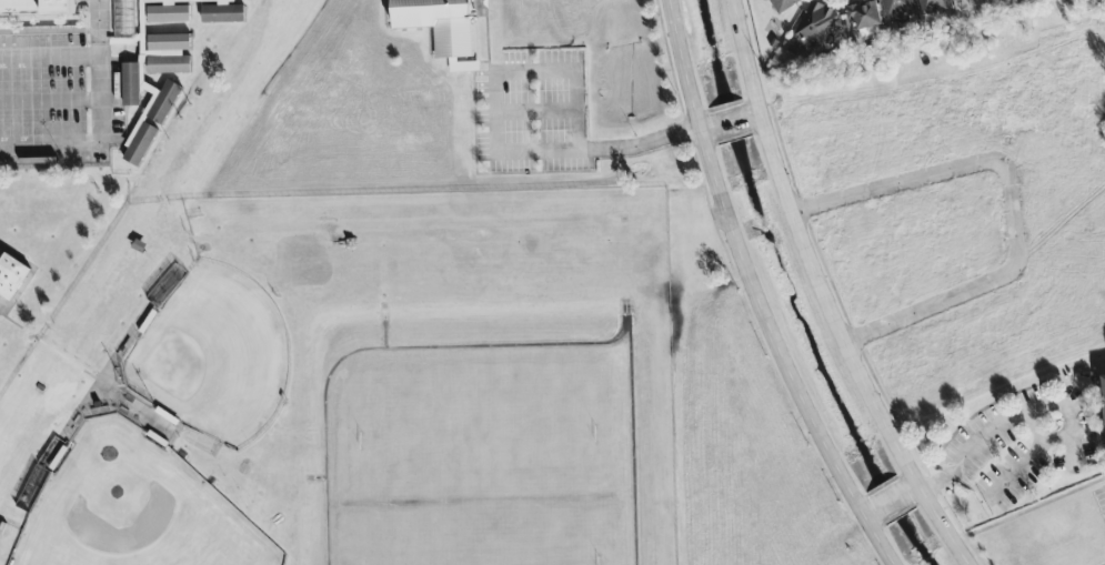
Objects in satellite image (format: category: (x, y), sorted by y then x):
building: (783, 3)
building: (933, 4)
building: (37, 8)
building: (896, 8)
building: (220, 10)
building: (168, 11)
building: (865, 16)
building: (123, 17)
building: (814, 27)
road: (48, 58)
road: (97, 70)
road: (538, 70)
building: (130, 82)
road: (48, 98)
road: (756, 110)
road: (538, 111)
building: (150, 117)
road: (729, 118)
road: (704, 124)
road: (48, 142)
road: (557, 149)
road: (1007, 199)
building: (11, 273)
road: (753, 293)
road: (827, 293)
park: (213, 353)
building: (1104, 383)
road: (1042, 407)
road: (1034, 428)
road: (913, 486)
road: (891, 498)
park: (133, 507)
road: (868, 511)

